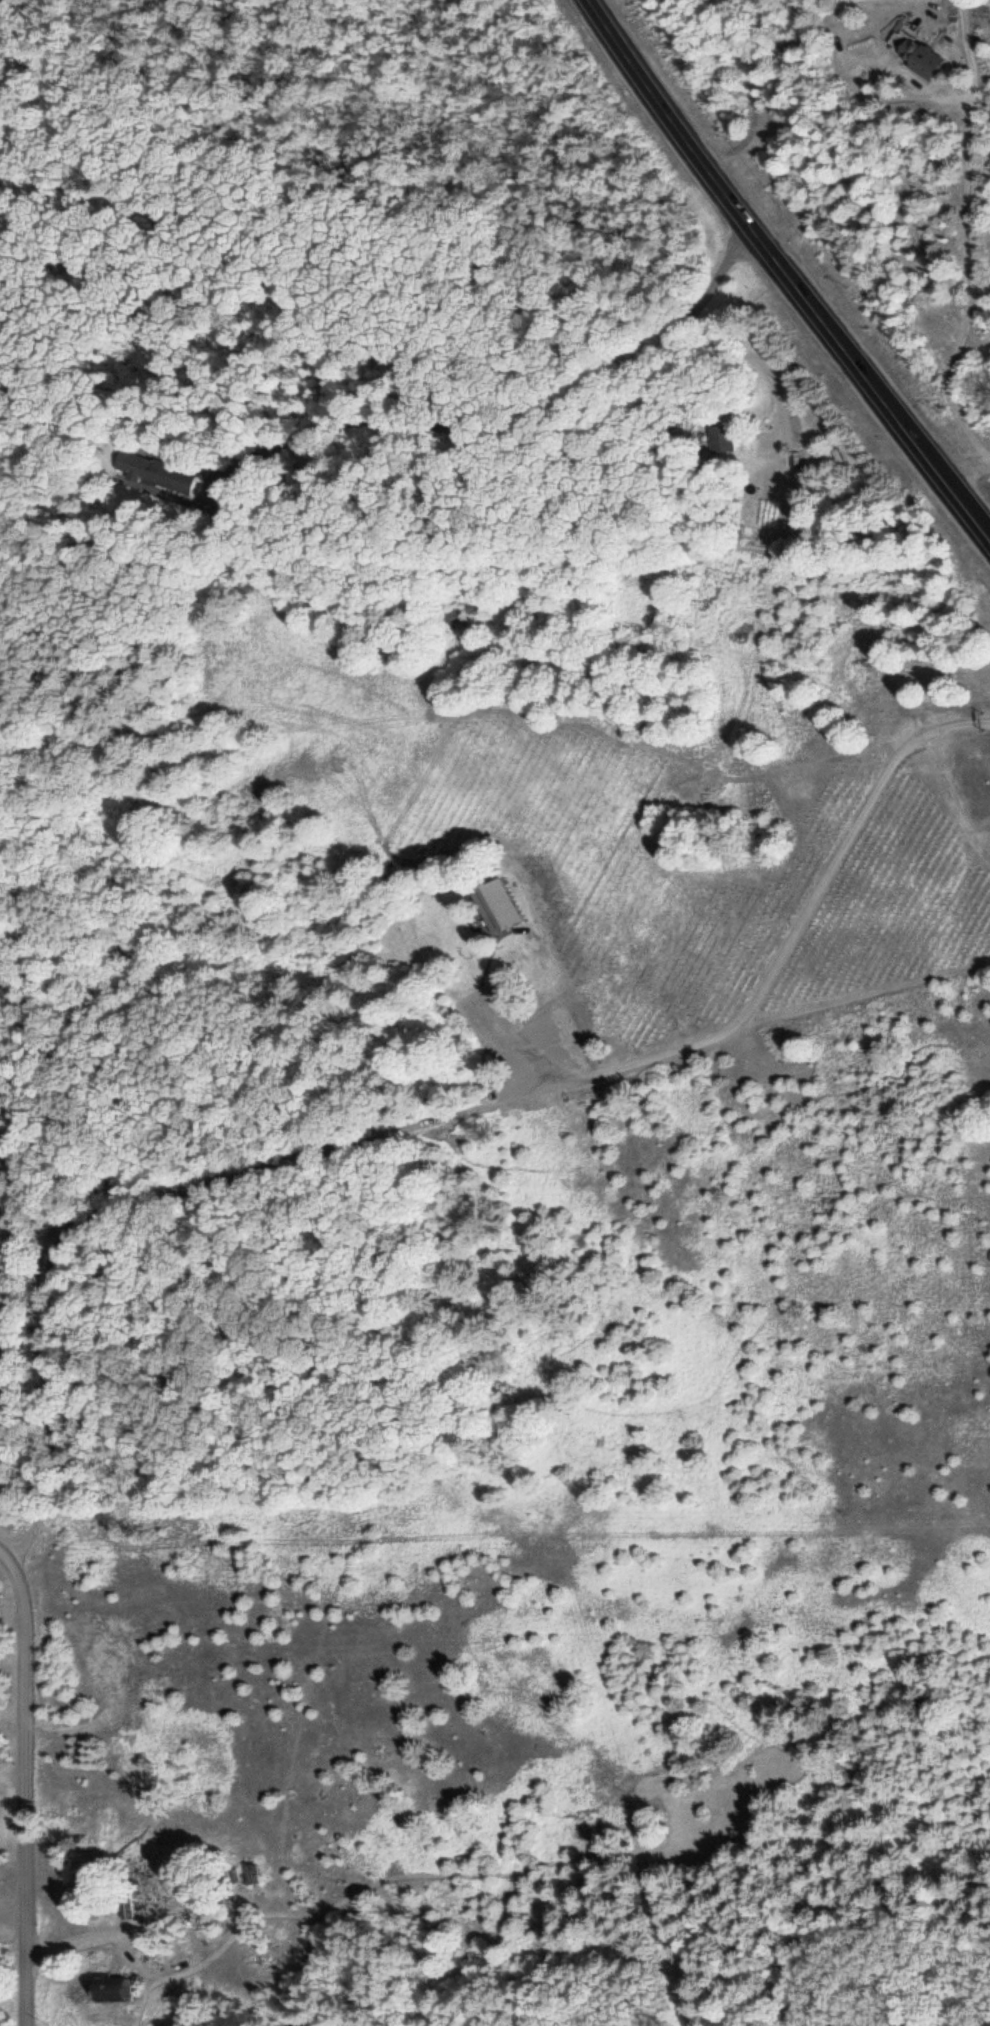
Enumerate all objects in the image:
building: (915, 54)
road: (786, 271)
road: (451, 321)
road: (737, 368)
building: (720, 436)
building: (154, 470)
road: (27, 1782)
building: (252, 1872)
building: (259, 1950)
building: (109, 1987)

